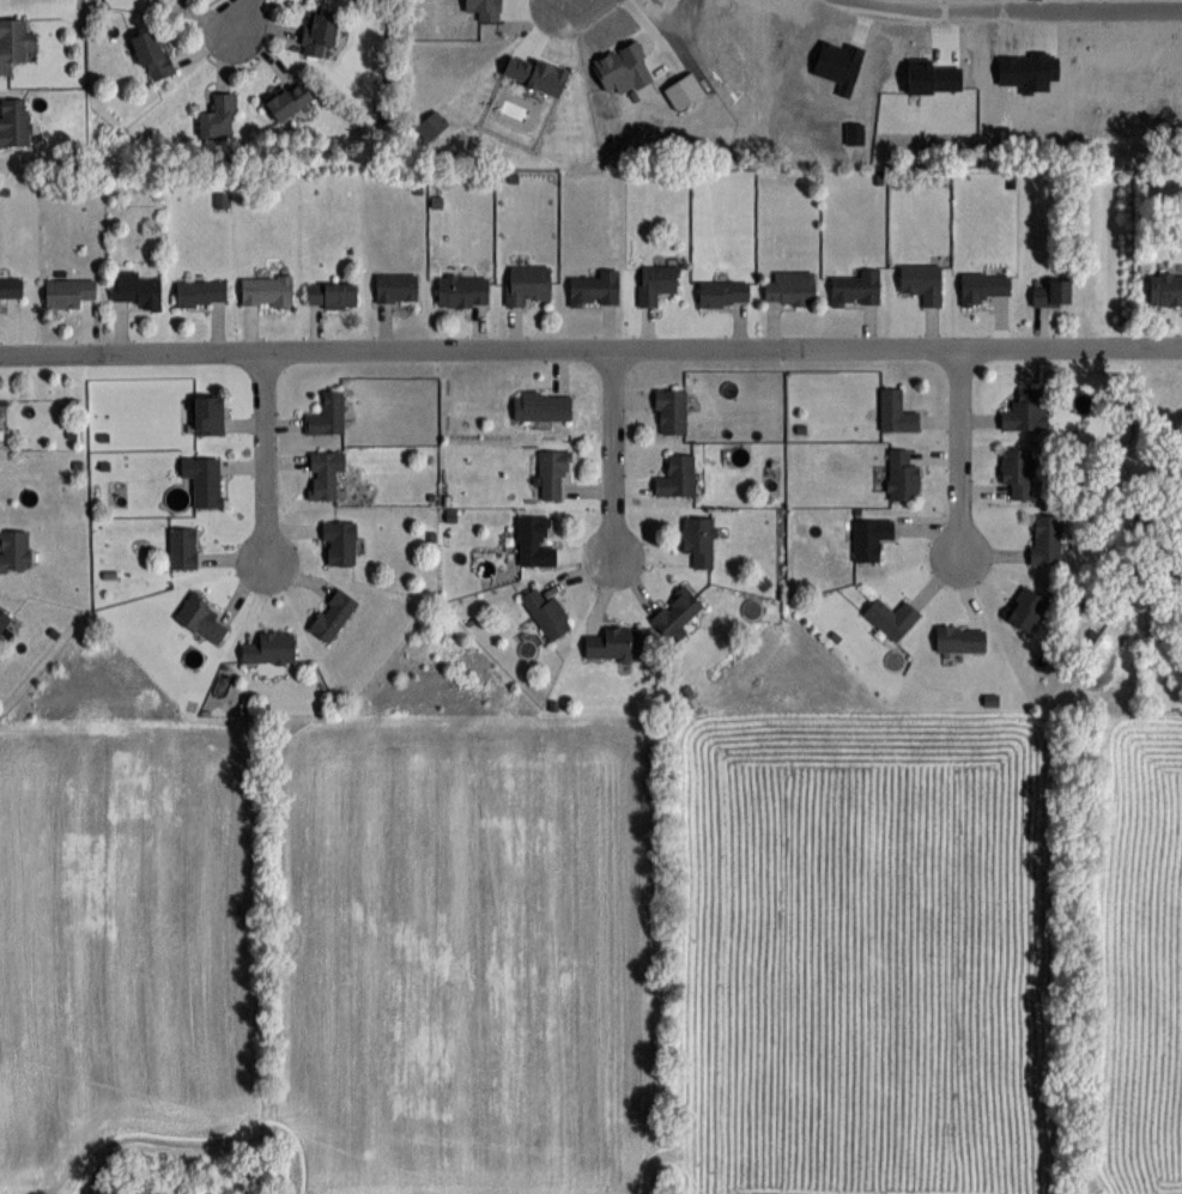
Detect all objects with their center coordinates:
road: (576, 1)
road: (1023, 6)
road: (243, 14)
building: (13, 42)
building: (152, 55)
building: (289, 101)
building: (219, 116)
building: (14, 121)
building: (656, 281)
building: (922, 281)
building: (527, 283)
building: (11, 285)
building: (395, 286)
building: (789, 286)
building: (982, 286)
building: (595, 287)
building: (856, 287)
building: (1165, 287)
building: (137, 289)
building: (266, 290)
building: (462, 290)
building: (68, 291)
building: (1051, 291)
building: (201, 292)
building: (723, 292)
building: (332, 293)
road: (590, 347)
building: (541, 405)
building: (671, 410)
building: (1025, 410)
building: (896, 411)
building: (208, 413)
building: (327, 413)
road: (957, 448)
road: (614, 453)
road: (266, 456)
building: (1017, 471)
building: (325, 472)
building: (552, 472)
building: (902, 474)
building: (677, 475)
building: (204, 478)
building: (869, 537)
building: (531, 538)
building: (1044, 538)
building: (698, 539)
building: (339, 541)
building: (182, 547)
building: (14, 550)
building: (1025, 607)
building: (546, 612)
building: (677, 612)
building: (333, 614)
building: (202, 617)
building: (891, 617)
building: (4, 619)
building: (959, 637)
building: (613, 643)
building: (269, 648)
crop: (600, 952)

